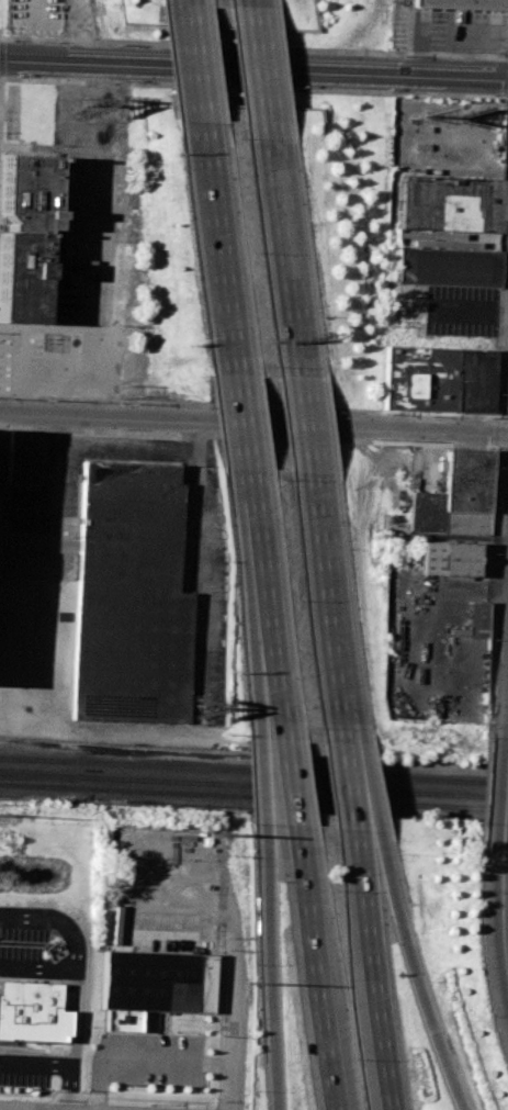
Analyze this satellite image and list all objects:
building: (464, 2)
road: (253, 47)
road: (0, 58)
road: (260, 63)
road: (253, 69)
road: (193, 70)
street lamp: (15, 77)
street lamp: (117, 80)
street lamp: (302, 87)
road: (253, 88)
street lamp: (385, 91)
street lamp: (489, 94)
street lamp: (507, 104)
parking lot: (10, 111)
building: (447, 202)
street lamp: (506, 221)
building: (26, 237)
road: (285, 251)
parking lot: (79, 256)
road: (218, 257)
building: (445, 266)
street lamp: (503, 309)
building: (439, 380)
street lamp: (500, 395)
road: (248, 405)
road: (253, 422)
road: (308, 425)
road: (57, 426)
road: (240, 426)
road: (495, 431)
road: (199, 434)
road: (127, 442)
building: (22, 456)
road: (53, 496)
building: (455, 497)
parking lot: (44, 509)
road: (197, 514)
building: (454, 560)
building: (129, 596)
road: (262, 608)
road: (331, 609)
building: (475, 619)
railway: (38, 759)
railway: (293, 771)
railway: (38, 774)
road: (284, 783)
railway: (38, 785)
railway: (292, 786)
road: (352, 786)
road: (483, 793)
railway: (292, 798)
road: (507, 821)
power tower: (211, 833)
road: (291, 837)
road: (358, 838)
road: (505, 899)
road: (54, 921)
road: (483, 961)
road: (419, 976)
road: (273, 977)
road: (314, 978)
road: (373, 979)
building: (155, 980)
power tower: (250, 982)
building: (31, 1011)
road: (75, 1012)
road: (233, 1013)
road: (148, 1058)
road: (99, 1083)
road: (69, 1087)

